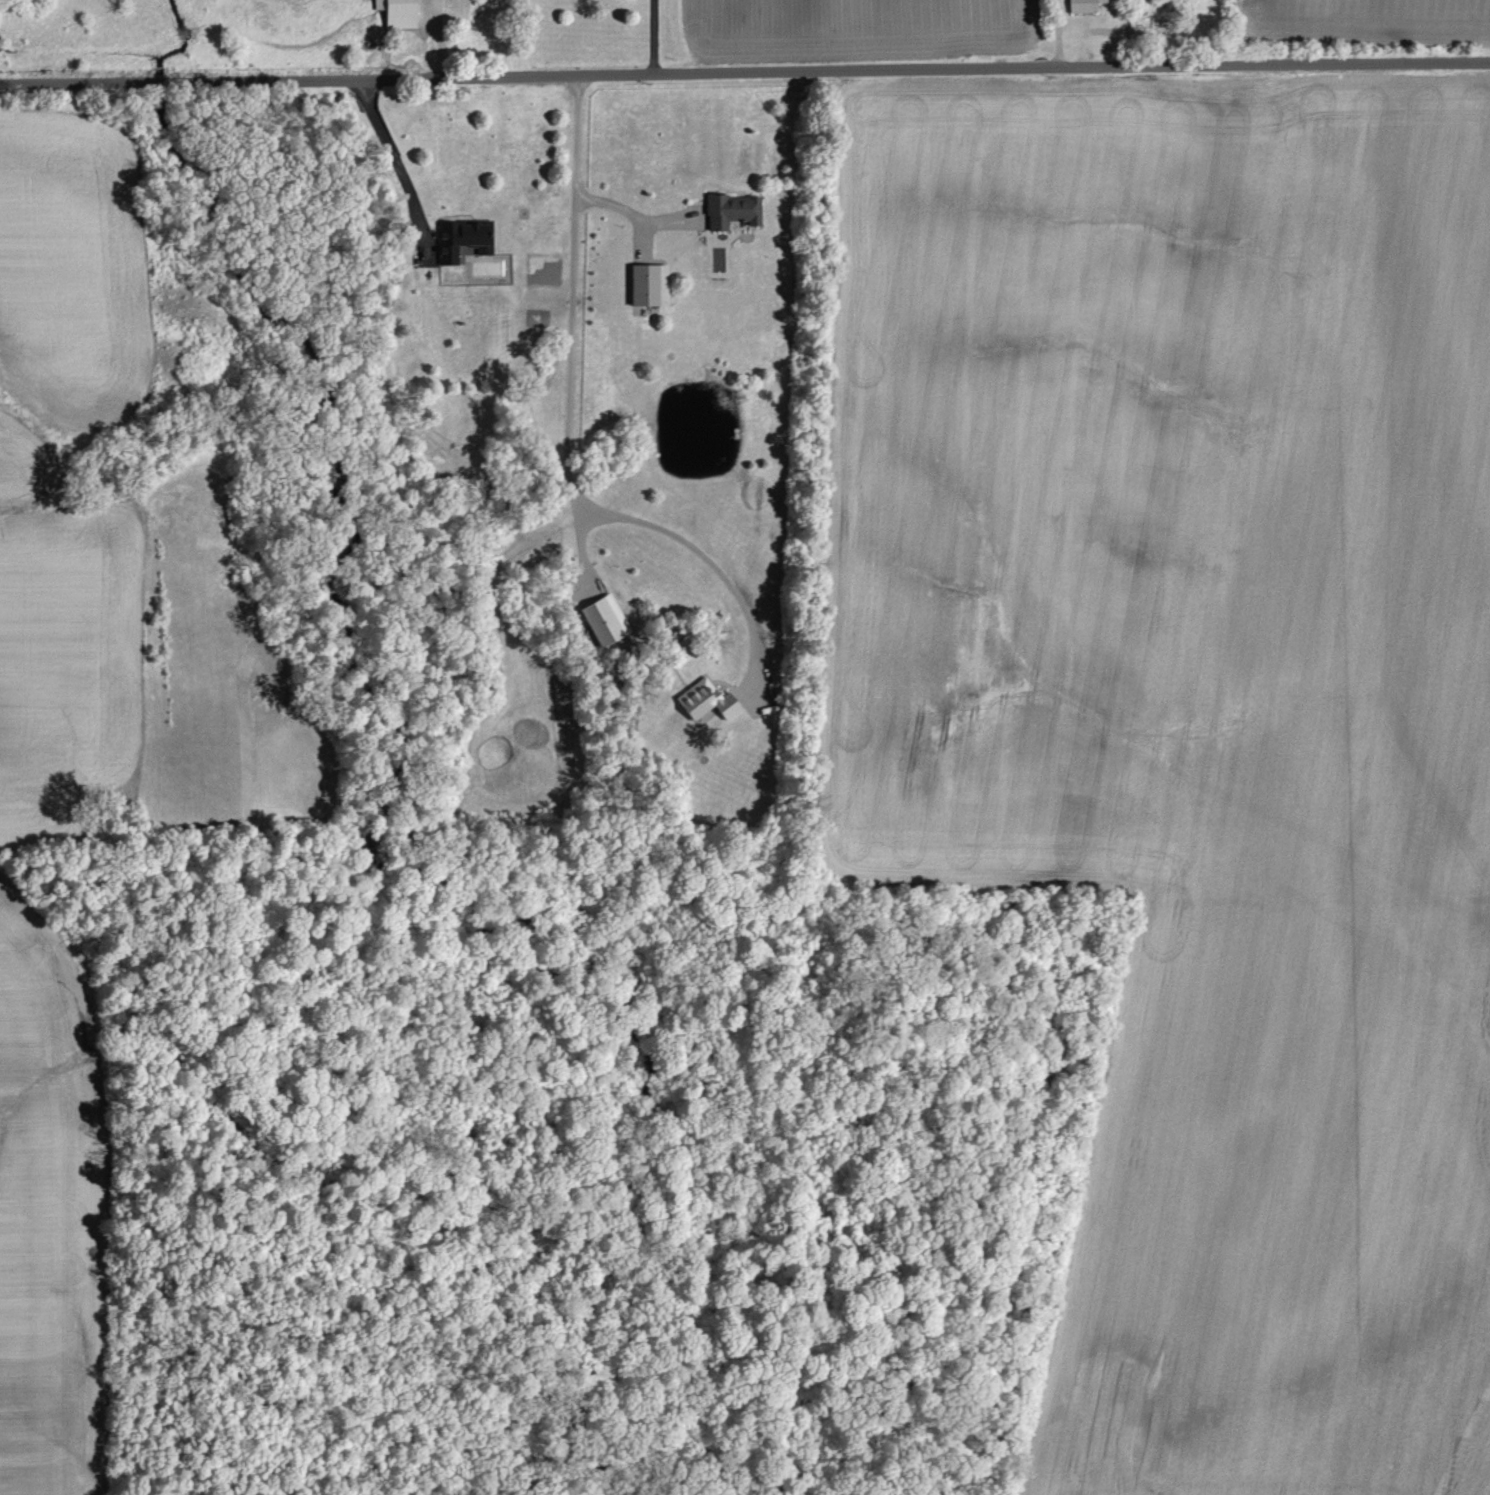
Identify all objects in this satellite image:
building: (1088, 5)
building: (401, 13)
road: (1057, 34)
road: (653, 35)
road: (438, 37)
road: (744, 70)
road: (397, 152)
building: (735, 210)
road: (630, 218)
building: (466, 237)
building: (652, 283)
road: (572, 404)
building: (608, 619)
building: (710, 700)

